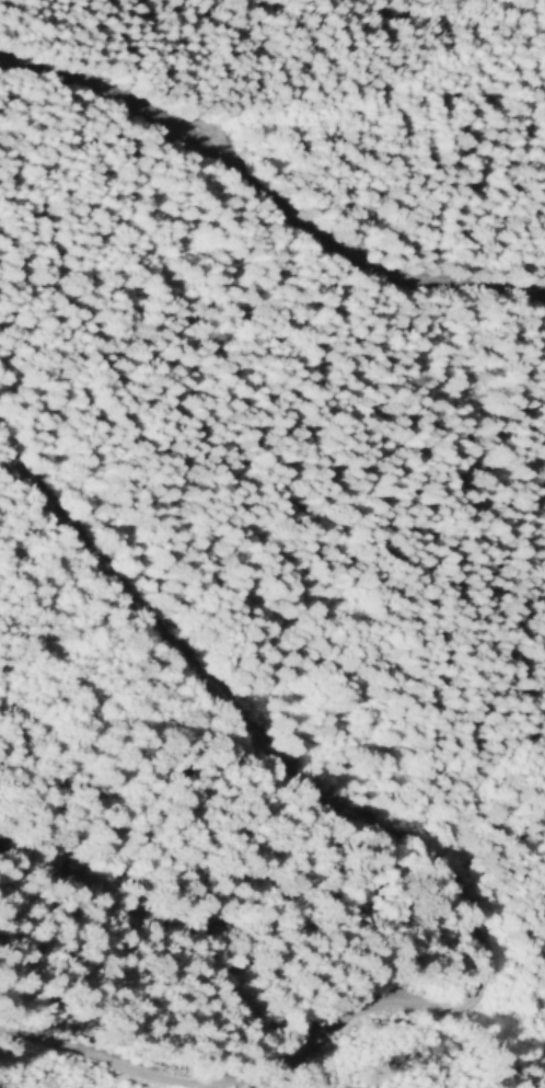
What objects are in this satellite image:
road: (381, 98)
road: (267, 196)
road: (452, 878)

